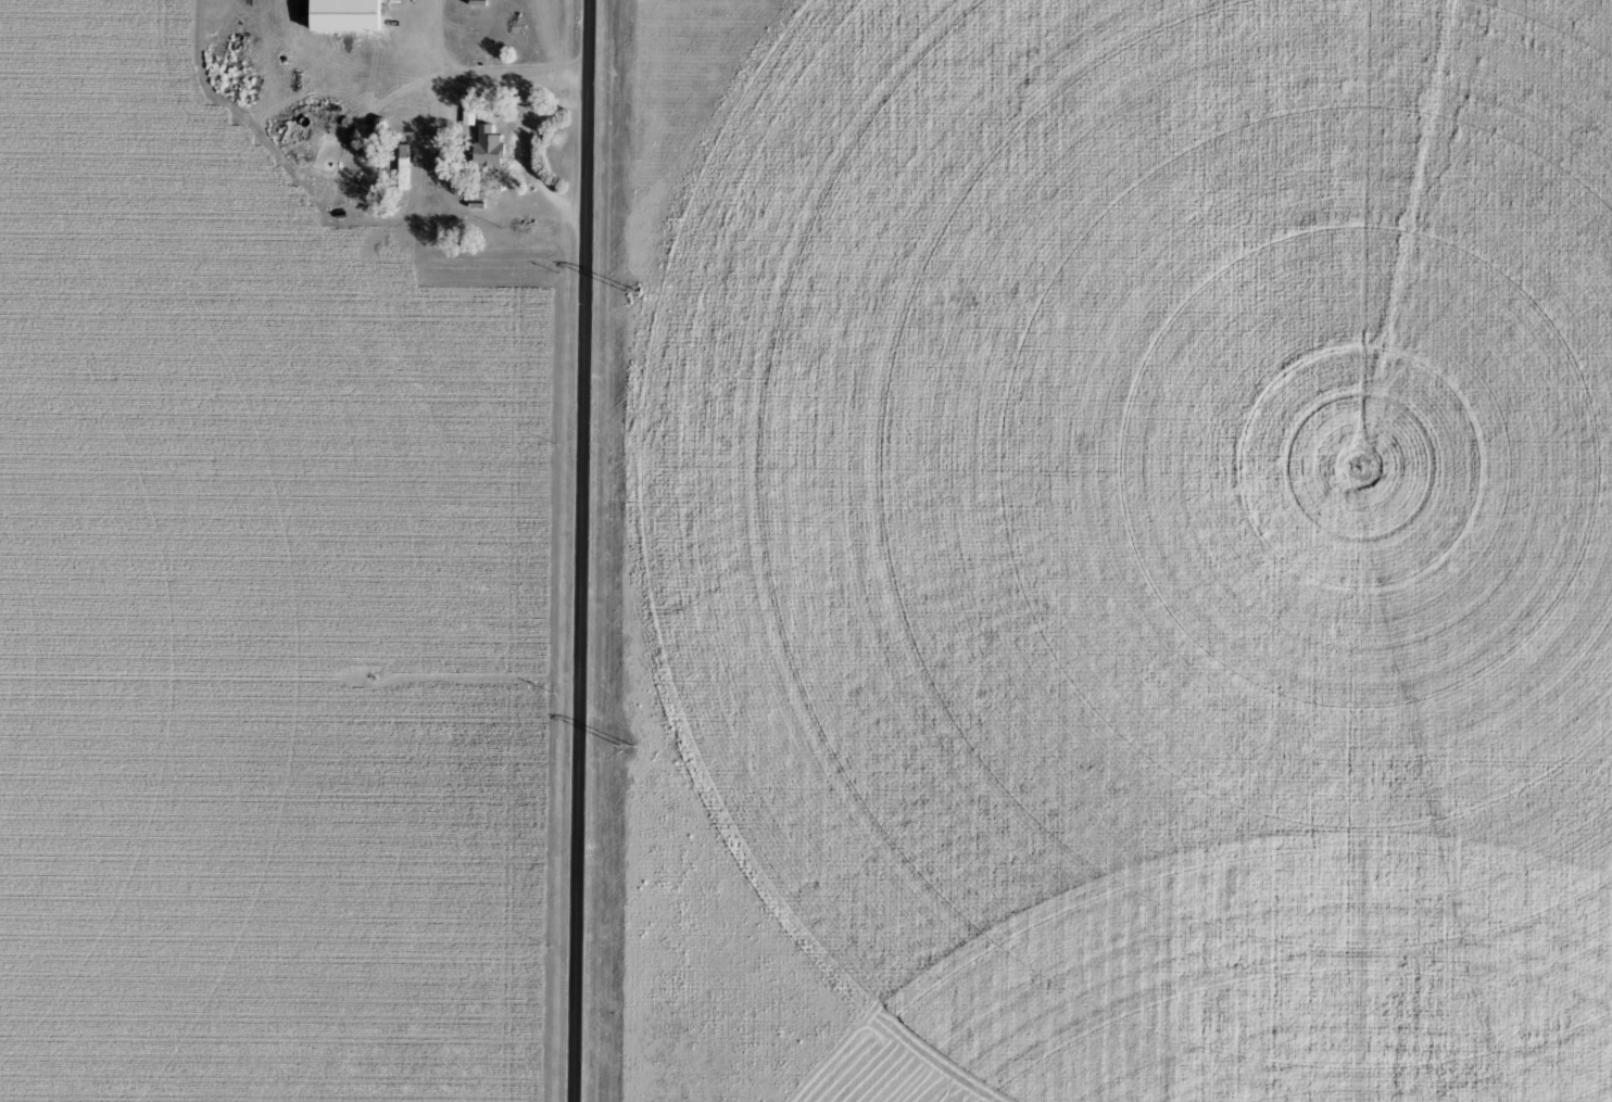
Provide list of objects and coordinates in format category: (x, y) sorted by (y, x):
building: (343, 14)
building: (487, 144)
power tower: (632, 288)
road: (593, 550)
power tower: (627, 745)

